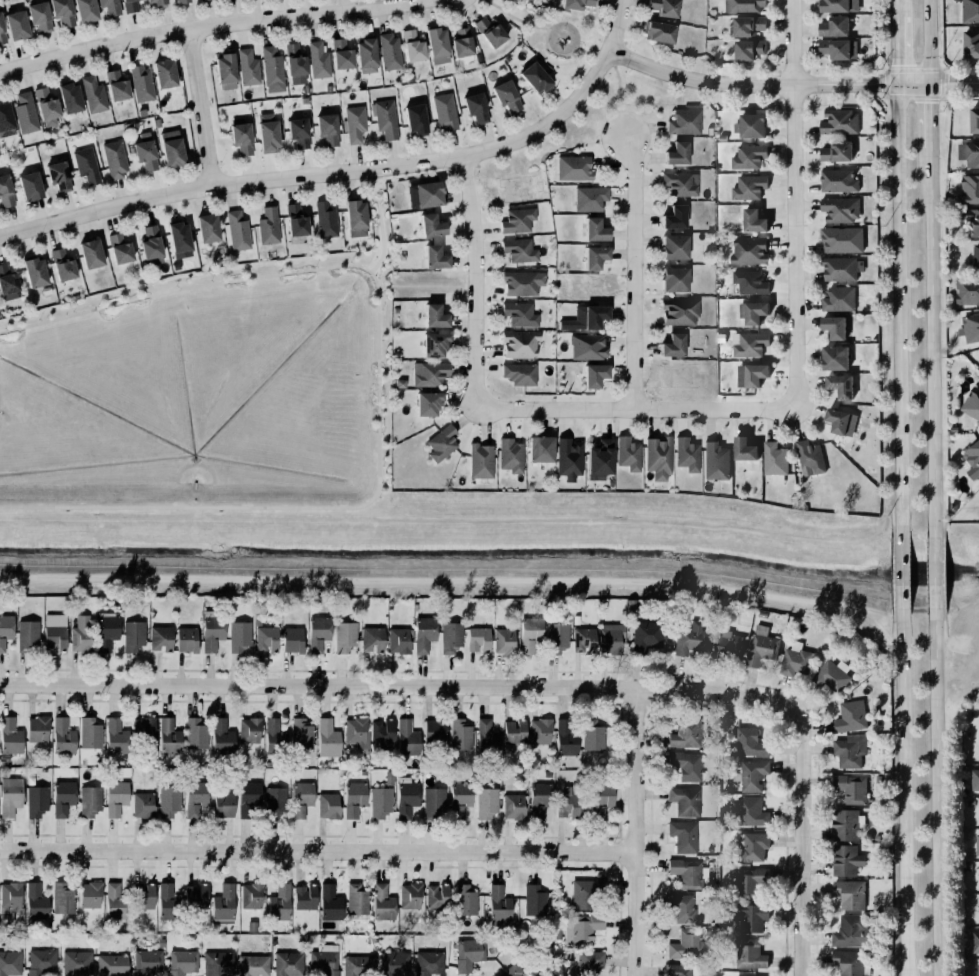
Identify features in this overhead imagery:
building: (180, 1)
building: (157, 2)
building: (574, 3)
building: (128, 5)
building: (743, 5)
building: (836, 5)
building: (108, 6)
building: (664, 7)
road: (894, 9)
building: (83, 10)
building: (970, 11)
building: (63, 12)
building: (38, 15)
road: (515, 17)
building: (14, 23)
road: (617, 24)
building: (746, 24)
building: (834, 27)
road: (212, 28)
building: (657, 30)
building: (491, 32)
building: (1, 34)
park: (553, 36)
building: (462, 41)
road: (925, 41)
building: (435, 43)
building: (411, 44)
building: (971, 44)
building: (836, 48)
building: (749, 49)
building: (390, 51)
road: (552, 51)
road: (584, 51)
road: (895, 51)
building: (339, 53)
building: (364, 54)
building: (293, 59)
road: (604, 59)
building: (319, 60)
building: (248, 67)
building: (224, 68)
building: (271, 68)
building: (162, 72)
building: (533, 76)
building: (139, 82)
traffic signals: (926, 83)
road: (952, 83)
building: (114, 84)
traffic signals: (895, 84)
road: (766, 85)
road: (617, 87)
building: (91, 93)
building: (506, 95)
building: (68, 96)
building: (45, 106)
building: (474, 106)
road: (201, 109)
building: (443, 111)
building: (25, 113)
road: (927, 114)
building: (384, 118)
building: (5, 119)
building: (414, 119)
building: (974, 120)
building: (682, 121)
building: (836, 121)
building: (353, 123)
building: (749, 124)
building: (328, 129)
park: (594, 129)
building: (296, 130)
building: (268, 132)
building: (239, 136)
building: (170, 146)
building: (834, 150)
building: (143, 151)
building: (675, 151)
building: (969, 153)
building: (113, 157)
building: (748, 157)
building: (86, 164)
building: (574, 168)
road: (325, 173)
building: (59, 176)
building: (837, 181)
building: (680, 183)
building: (30, 186)
building: (746, 186)
building: (970, 189)
building: (6, 191)
road: (375, 192)
building: (426, 192)
building: (588, 197)
road: (795, 204)
building: (840, 209)
building: (675, 217)
building: (356, 218)
building: (294, 219)
building: (326, 219)
building: (518, 220)
building: (972, 220)
building: (754, 221)
building: (429, 223)
building: (268, 225)
building: (206, 226)
building: (595, 230)
building: (238, 231)
building: (839, 236)
road: (382, 238)
building: (179, 239)
building: (151, 246)
building: (675, 247)
building: (119, 249)
building: (520, 250)
building: (749, 250)
building: (91, 253)
building: (433, 255)
building: (593, 255)
building: (976, 257)
building: (63, 265)
road: (637, 268)
building: (841, 269)
building: (35, 272)
building: (673, 278)
building: (523, 282)
building: (750, 282)
building: (8, 283)
road: (477, 283)
road: (184, 288)
building: (967, 290)
building: (837, 298)
road: (897, 309)
building: (680, 311)
building: (753, 312)
building: (518, 313)
building: (433, 315)
building: (585, 318)
building: (835, 327)
building: (970, 328)
road: (932, 340)
building: (520, 344)
building: (672, 344)
building: (749, 344)
building: (436, 345)
building: (588, 346)
building: (833, 357)
building: (427, 373)
building: (518, 373)
building: (594, 375)
building: (751, 375)
building: (838, 384)
building: (429, 403)
building: (972, 404)
road: (638, 407)
building: (841, 422)
building: (442, 443)
building: (538, 448)
building: (626, 452)
building: (685, 453)
building: (567, 454)
building: (743, 454)
building: (508, 455)
building: (656, 457)
building: (807, 457)
building: (772, 458)
building: (600, 459)
building: (479, 460)
building: (973, 460)
building: (716, 461)
park: (335, 465)
road: (302, 508)
road: (932, 573)
road: (900, 575)
building: (107, 630)
building: (212, 631)
building: (55, 632)
building: (319, 633)
building: (28, 634)
building: (530, 634)
building: (237, 635)
building: (644, 635)
building: (7, 636)
building: (134, 636)
building: (345, 636)
building: (426, 636)
building: (83, 637)
building: (371, 637)
building: (451, 637)
building: (557, 637)
building: (612, 637)
building: (161, 638)
building: (581, 638)
building: (691, 638)
building: (187, 639)
building: (267, 639)
building: (290, 639)
building: (479, 639)
building: (399, 640)
building: (504, 641)
building: (727, 646)
building: (759, 649)
building: (793, 659)
building: (832, 675)
road: (394, 684)
building: (851, 716)
building: (142, 722)
building: (35, 728)
building: (249, 730)
building: (380, 731)
building: (435, 731)
building: (481, 731)
building: (541, 731)
building: (88, 732)
building: (357, 732)
building: (515, 732)
building: (194, 733)
building: (302, 733)
building: (686, 733)
building: (458, 734)
building: (591, 734)
building: (220, 735)
building: (11, 736)
building: (64, 736)
building: (116, 736)
building: (167, 736)
building: (274, 736)
building: (405, 737)
building: (564, 737)
building: (326, 738)
building: (749, 743)
building: (850, 751)
building: (687, 765)
building: (752, 775)
building: (975, 780)
building: (854, 788)
road: (935, 793)
building: (9, 794)
building: (458, 796)
road: (903, 796)
building: (63, 797)
building: (116, 797)
building: (196, 798)
building: (301, 798)
building: (354, 798)
building: (405, 798)
building: (537, 798)
building: (167, 800)
building: (601, 800)
building: (683, 800)
building: (90, 801)
building: (432, 801)
building: (485, 801)
building: (37, 802)
building: (251, 802)
building: (381, 802)
building: (568, 802)
building: (143, 804)
building: (277, 804)
building: (224, 805)
building: (328, 805)
building: (514, 806)
building: (748, 812)
building: (845, 825)
road: (644, 831)
building: (684, 836)
road: (807, 836)
building: (978, 844)
building: (753, 846)
road: (322, 849)
building: (844, 859)
building: (687, 872)
building: (749, 882)
building: (88, 893)
building: (584, 893)
building: (850, 894)
building: (252, 895)
building: (410, 895)
building: (144, 896)
building: (437, 896)
building: (305, 897)
building: (357, 899)
building: (464, 899)
building: (10, 900)
building: (198, 900)
building: (535, 900)
building: (166, 901)
building: (64, 902)
building: (116, 902)
building: (280, 902)
building: (381, 902)
building: (37, 903)
building: (330, 903)
building: (224, 904)
building: (497, 905)
building: (680, 907)
building: (750, 917)
building: (582, 927)
building: (849, 933)
building: (975, 942)
building: (684, 944)
building: (467, 953)
building: (750, 954)
building: (325, 960)
building: (9, 962)
building: (39, 962)
building: (147, 962)
building: (183, 962)
building: (426, 962)
building: (587, 962)
building: (849, 962)
building: (77, 963)
building: (286, 963)
building: (393, 963)
building: (218, 964)
building: (109, 965)
building: (251, 965)
building: (359, 965)
building: (978, 969)
building: (679, 970)
building: (512, 971)

